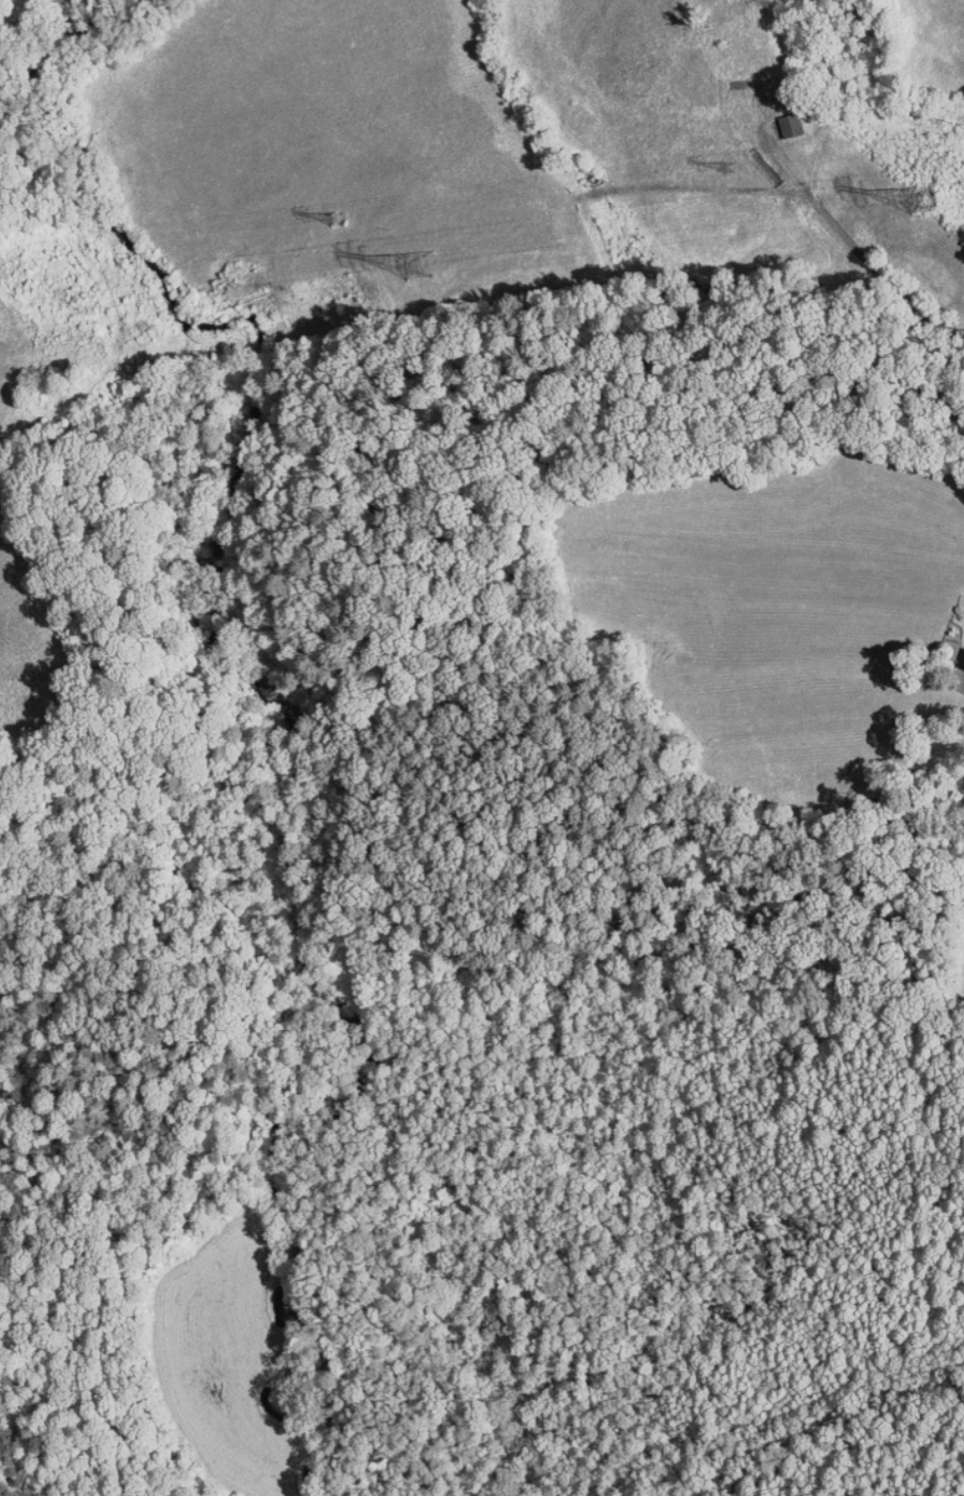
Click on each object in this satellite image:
building: (777, 118)
power tower: (741, 172)
power tower: (347, 220)
power tower: (438, 265)
building: (955, 653)

